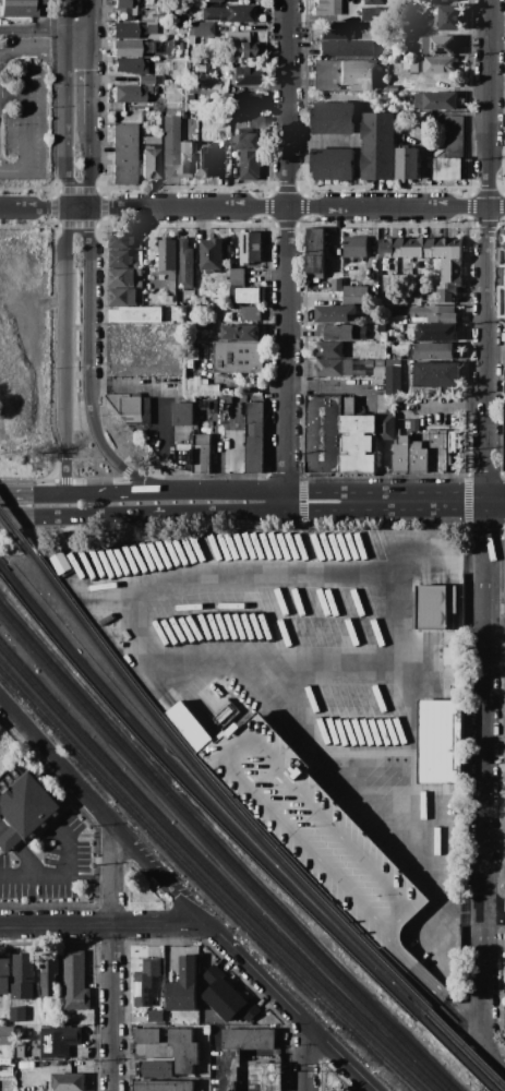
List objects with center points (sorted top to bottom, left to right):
building: (141, 0)
building: (211, 0)
building: (372, 1)
building: (445, 1)
building: (326, 7)
building: (20, 8)
building: (124, 10)
building: (236, 13)
building: (370, 13)
building: (449, 17)
road: (45, 28)
building: (132, 28)
building: (200, 31)
building: (333, 31)
building: (236, 36)
building: (438, 45)
building: (181, 46)
road: (44, 47)
building: (159, 47)
building: (131, 48)
building: (345, 48)
building: (242, 49)
building: (393, 51)
building: (429, 65)
building: (133, 68)
building: (211, 68)
building: (243, 75)
building: (342, 75)
building: (194, 87)
building: (171, 88)
building: (393, 88)
building: (148, 89)
building: (157, 89)
building: (128, 94)
road: (13, 96)
building: (244, 101)
building: (436, 101)
building: (166, 105)
building: (117, 106)
building: (332, 119)
building: (255, 122)
road: (27, 133)
building: (453, 133)
building: (400, 137)
building: (169, 146)
building: (377, 146)
building: (124, 153)
building: (248, 153)
building: (151, 156)
building: (185, 159)
building: (204, 160)
building: (332, 164)
building: (407, 164)
building: (446, 169)
road: (26, 188)
road: (74, 189)
road: (52, 203)
road: (45, 206)
road: (104, 206)
road: (298, 208)
road: (76, 224)
road: (38, 225)
building: (120, 239)
road: (64, 245)
building: (354, 248)
building: (392, 248)
building: (250, 249)
building: (420, 249)
building: (448, 249)
road: (486, 251)
building: (315, 253)
building: (212, 254)
road: (287, 256)
building: (119, 259)
building: (168, 263)
road: (92, 264)
building: (184, 265)
building: (450, 272)
building: (137, 273)
building: (237, 277)
building: (121, 278)
building: (139, 284)
building: (336, 286)
building: (431, 293)
building: (448, 293)
building: (354, 295)
building: (247, 296)
building: (121, 297)
building: (191, 303)
building: (397, 311)
building: (250, 314)
building: (334, 314)
building: (433, 314)
building: (135, 315)
building: (381, 328)
building: (341, 332)
building: (237, 333)
building: (435, 333)
road: (503, 349)
building: (329, 350)
building: (431, 351)
road: (50, 358)
building: (219, 362)
building: (369, 363)
building: (378, 363)
building: (333, 368)
building: (435, 375)
building: (393, 377)
building: (251, 399)
building: (228, 400)
building: (131, 408)
road: (446, 408)
building: (182, 415)
building: (386, 427)
building: (323, 434)
building: (254, 437)
building: (358, 440)
building: (438, 449)
building: (201, 454)
building: (401, 455)
building: (419, 458)
road: (124, 470)
road: (62, 481)
road: (177, 493)
road: (467, 500)
road: (418, 503)
road: (495, 503)
road: (213, 513)
road: (317, 513)
road: (71, 516)
railway: (16, 531)
building: (59, 563)
road: (412, 563)
road: (472, 563)
road: (146, 588)
road: (495, 604)
building: (433, 608)
building: (450, 656)
building: (456, 692)
road: (485, 710)
building: (0, 726)
building: (189, 728)
building: (441, 742)
railway: (216, 794)
building: (504, 801)
railway: (201, 802)
building: (26, 808)
building: (504, 832)
building: (322, 838)
railway: (219, 855)
road: (60, 862)
road: (438, 864)
road: (112, 874)
railway: (211, 876)
railway: (203, 884)
road: (182, 899)
road: (495, 912)
road: (471, 918)
road: (104, 923)
building: (4, 974)
building: (50, 975)
building: (23, 976)
building: (75, 981)
building: (146, 982)
road: (486, 982)
building: (183, 987)
building: (227, 998)
road: (113, 1007)
building: (16, 1014)
building: (155, 1016)
building: (141, 1018)
building: (5, 1031)
building: (21, 1033)
building: (249, 1039)
building: (58, 1041)
building: (173, 1046)
building: (20, 1051)
railway: (466, 1051)
road: (496, 1052)
railway: (455, 1055)
road: (306, 1058)
building: (154, 1069)
building: (230, 1069)
building: (10, 1072)
building: (265, 1077)
building: (69, 1082)
building: (164, 1086)
building: (345, 1090)
building: (348, 1090)

